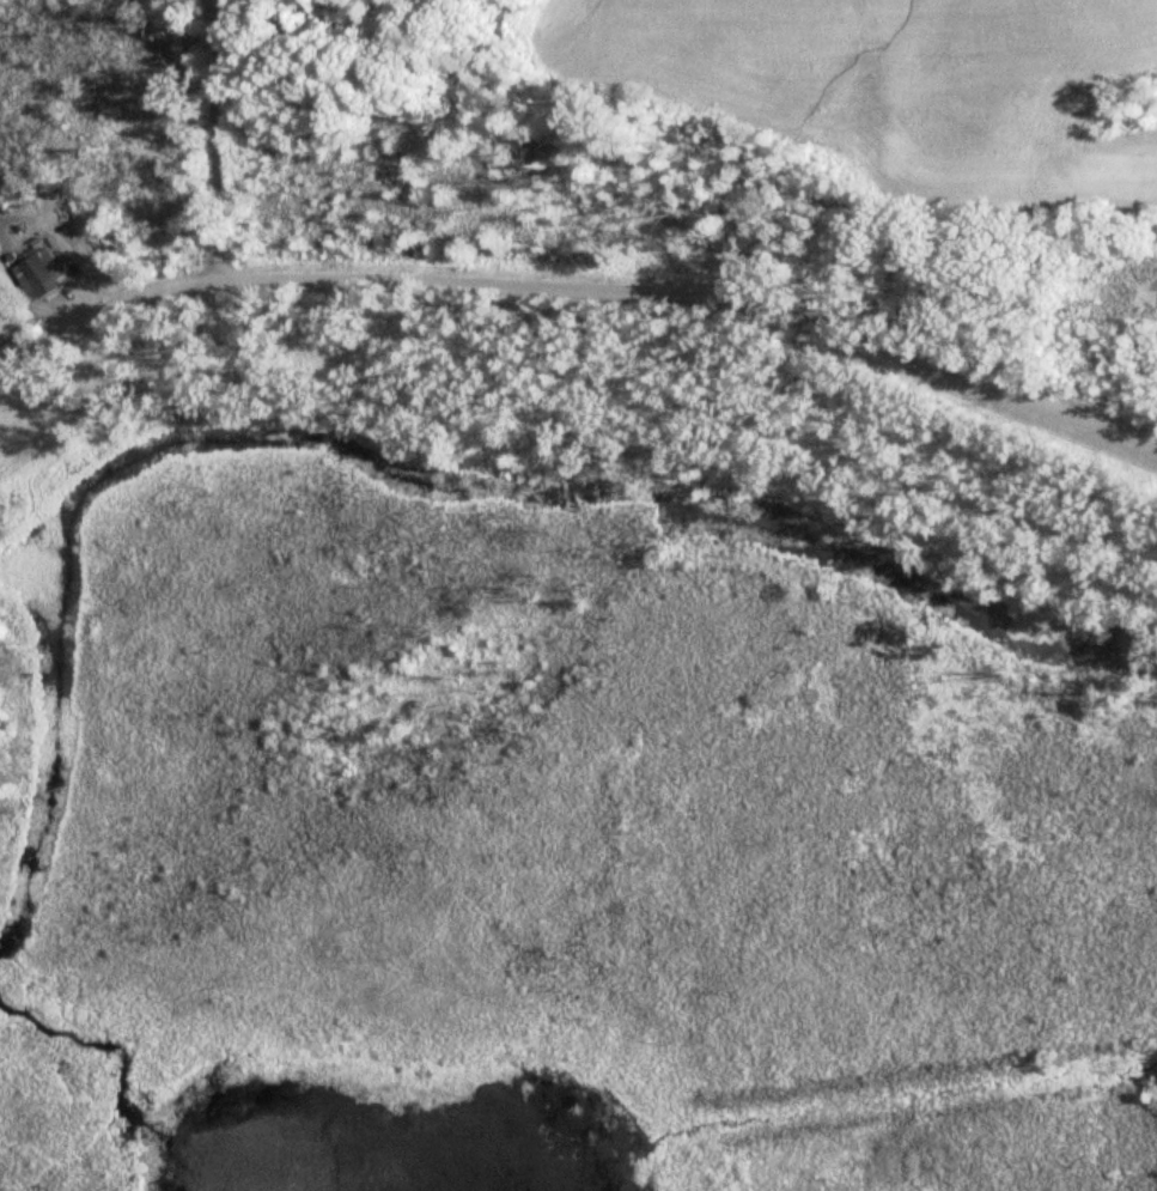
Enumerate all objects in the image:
road: (217, 139)
building: (37, 273)
road: (579, 288)

